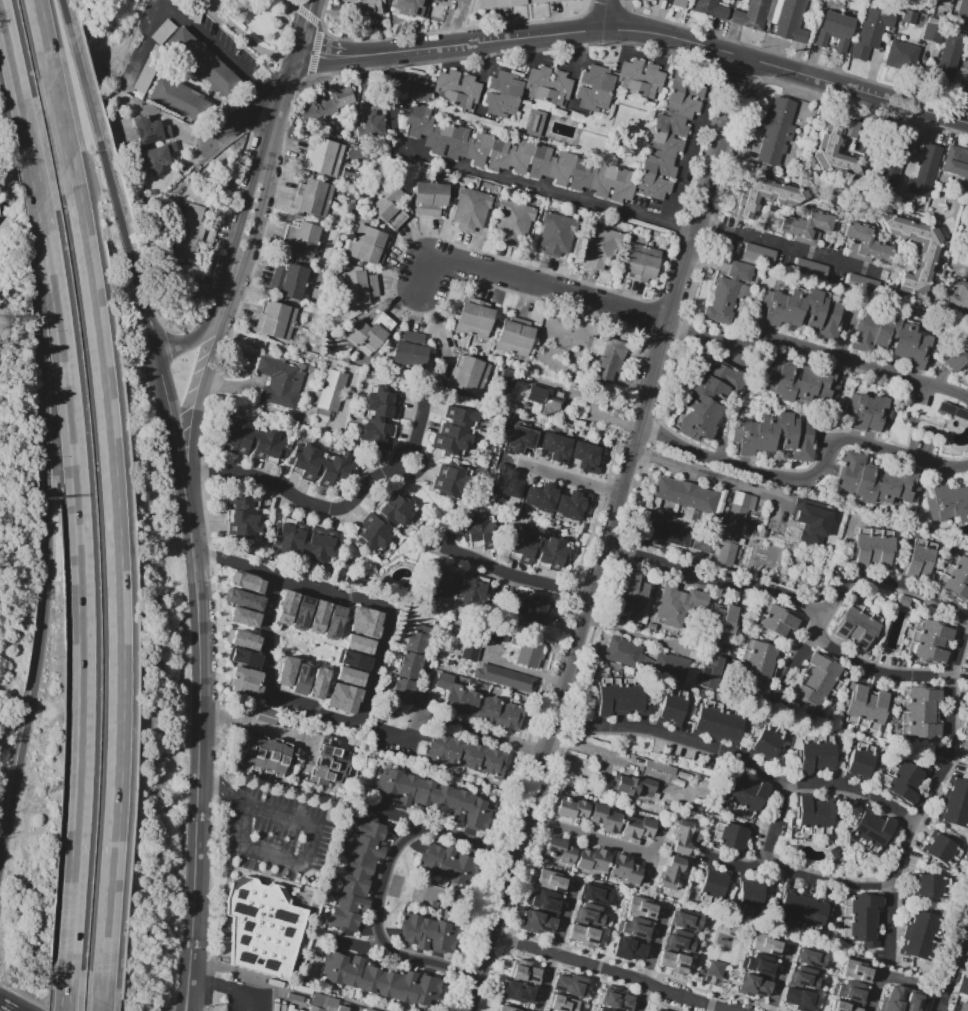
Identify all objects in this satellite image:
building: (446, 0)
building: (407, 2)
building: (944, 2)
building: (678, 3)
building: (519, 4)
building: (370, 5)
building: (962, 8)
building: (710, 9)
road: (606, 15)
building: (751, 15)
building: (909, 17)
road: (69, 21)
road: (90, 21)
building: (791, 21)
park: (255, 25)
building: (835, 30)
building: (933, 30)
road: (305, 31)
road: (639, 31)
building: (871, 32)
road: (247, 37)
road: (44, 40)
road: (217, 48)
building: (901, 56)
building: (947, 62)
building: (203, 63)
road: (13, 64)
building: (150, 68)
building: (639, 78)
road: (84, 79)
building: (415, 87)
building: (594, 88)
building: (456, 89)
building: (525, 90)
building: (179, 99)
building: (336, 101)
road: (251, 107)
road: (278, 113)
road: (871, 114)
building: (419, 120)
road: (61, 121)
building: (534, 122)
building: (373, 123)
building: (150, 130)
building: (776, 130)
building: (669, 136)
building: (836, 142)
building: (323, 156)
building: (157, 158)
building: (530, 160)
building: (892, 161)
building: (956, 161)
road: (34, 165)
building: (924, 171)
road: (10, 176)
road: (500, 178)
building: (313, 197)
building: (766, 197)
building: (429, 198)
building: (388, 204)
road: (243, 209)
building: (471, 209)
road: (256, 214)
building: (513, 220)
building: (808, 226)
building: (186, 230)
building: (556, 234)
road: (127, 237)
building: (303, 238)
building: (865, 243)
building: (368, 245)
road: (788, 247)
building: (601, 248)
building: (916, 250)
building: (758, 253)
building: (641, 262)
building: (810, 268)
road: (230, 278)
building: (290, 280)
building: (863, 284)
road: (535, 285)
building: (360, 287)
building: (727, 293)
building: (959, 295)
building: (803, 311)
building: (475, 318)
building: (275, 320)
building: (367, 332)
road: (201, 336)
building: (893, 336)
building: (515, 339)
building: (409, 349)
road: (818, 350)
building: (958, 357)
building: (606, 358)
building: (469, 374)
building: (507, 377)
building: (798, 378)
building: (279, 381)
road: (203, 384)
building: (330, 395)
building: (544, 399)
building: (708, 400)
building: (868, 412)
building: (378, 418)
road: (569, 419)
building: (455, 430)
building: (777, 435)
building: (255, 439)
building: (520, 440)
building: (572, 451)
building: (321, 464)
road: (683, 469)
road: (569, 476)
road: (812, 478)
building: (448, 479)
building: (877, 480)
building: (507, 484)
building: (687, 495)
building: (558, 501)
building: (948, 503)
road: (333, 508)
building: (688, 513)
building: (244, 514)
building: (384, 521)
building: (813, 523)
building: (733, 527)
building: (667, 529)
building: (478, 530)
road: (51, 534)
road: (608, 534)
building: (704, 541)
building: (304, 542)
building: (537, 548)
building: (872, 548)
building: (919, 557)
road: (510, 571)
road: (121, 577)
road: (80, 579)
building: (955, 579)
building: (355, 580)
building: (245, 581)
road: (715, 582)
building: (458, 586)
building: (632, 594)
building: (243, 598)
building: (678, 604)
building: (285, 606)
building: (535, 608)
building: (301, 612)
road: (826, 612)
building: (243, 616)
building: (317, 616)
building: (775, 619)
building: (333, 621)
building: (364, 621)
building: (722, 624)
building: (857, 625)
road: (635, 633)
building: (242, 638)
building: (929, 639)
building: (358, 643)
building: (469, 650)
building: (529, 652)
road: (960, 653)
building: (243, 657)
building: (645, 658)
building: (353, 659)
building: (757, 663)
building: (409, 664)
road: (370, 666)
road: (513, 666)
building: (285, 670)
building: (710, 672)
building: (348, 675)
building: (301, 677)
building: (506, 677)
building: (967, 679)
building: (244, 680)
road: (202, 681)
building: (818, 681)
building: (317, 682)
building: (967, 690)
building: (342, 697)
building: (619, 697)
building: (673, 706)
building: (484, 707)
building: (864, 707)
road: (420, 709)
building: (920, 712)
building: (267, 715)
road: (950, 718)
building: (718, 722)
road: (605, 724)
road: (257, 727)
road: (481, 734)
building: (966, 737)
road: (685, 740)
building: (766, 741)
road: (398, 742)
building: (265, 753)
building: (816, 753)
building: (466, 755)
building: (861, 760)
road: (948, 760)
building: (330, 763)
building: (660, 767)
building: (682, 775)
building: (902, 781)
building: (635, 786)
road: (932, 791)
building: (747, 795)
building: (433, 798)
building: (955, 803)
building: (571, 807)
building: (814, 814)
road: (394, 815)
building: (605, 818)
road: (775, 827)
building: (637, 828)
building: (872, 831)
building: (731, 835)
road: (591, 836)
building: (682, 837)
road: (907, 841)
road: (316, 845)
building: (558, 850)
building: (941, 850)
building: (836, 852)
building: (593, 858)
building: (449, 863)
building: (625, 869)
building: (672, 872)
building: (358, 874)
building: (549, 879)
road: (385, 884)
building: (713, 885)
building: (395, 886)
building: (931, 886)
building: (597, 893)
building: (750, 894)
building: (545, 901)
building: (433, 904)
building: (641, 906)
building: (801, 912)
building: (589, 915)
building: (861, 918)
building: (687, 920)
building: (536, 922)
road: (966, 923)
road: (889, 925)
building: (263, 927)
building: (635, 928)
building: (428, 933)
building: (585, 935)
building: (921, 936)
building: (680, 941)
road: (557, 942)
building: (758, 942)
road: (356, 944)
building: (628, 949)
parking lot: (965, 956)
road: (569, 957)
road: (650, 958)
building: (813, 959)
building: (675, 962)
road: (953, 962)
road: (960, 962)
building: (754, 965)
building: (857, 970)
building: (714, 971)
road: (883, 976)
road: (780, 977)
building: (515, 978)
building: (380, 979)
building: (809, 981)
building: (962, 983)
road: (68, 984)
building: (746, 985)
road: (225, 989)
building: (850, 992)
building: (585, 996)
building: (616, 998)
building: (891, 998)
road: (686, 999)
building: (801, 1001)
building: (912, 1002)
building: (560, 1003)
road: (106, 1004)
building: (325, 1004)
road: (9, 1006)
building: (843, 1006)
building: (963, 1006)
building: (506, 1008)
road: (188, 1009)
road: (189, 1009)
building: (368, 1010)
building: (651, 1010)

